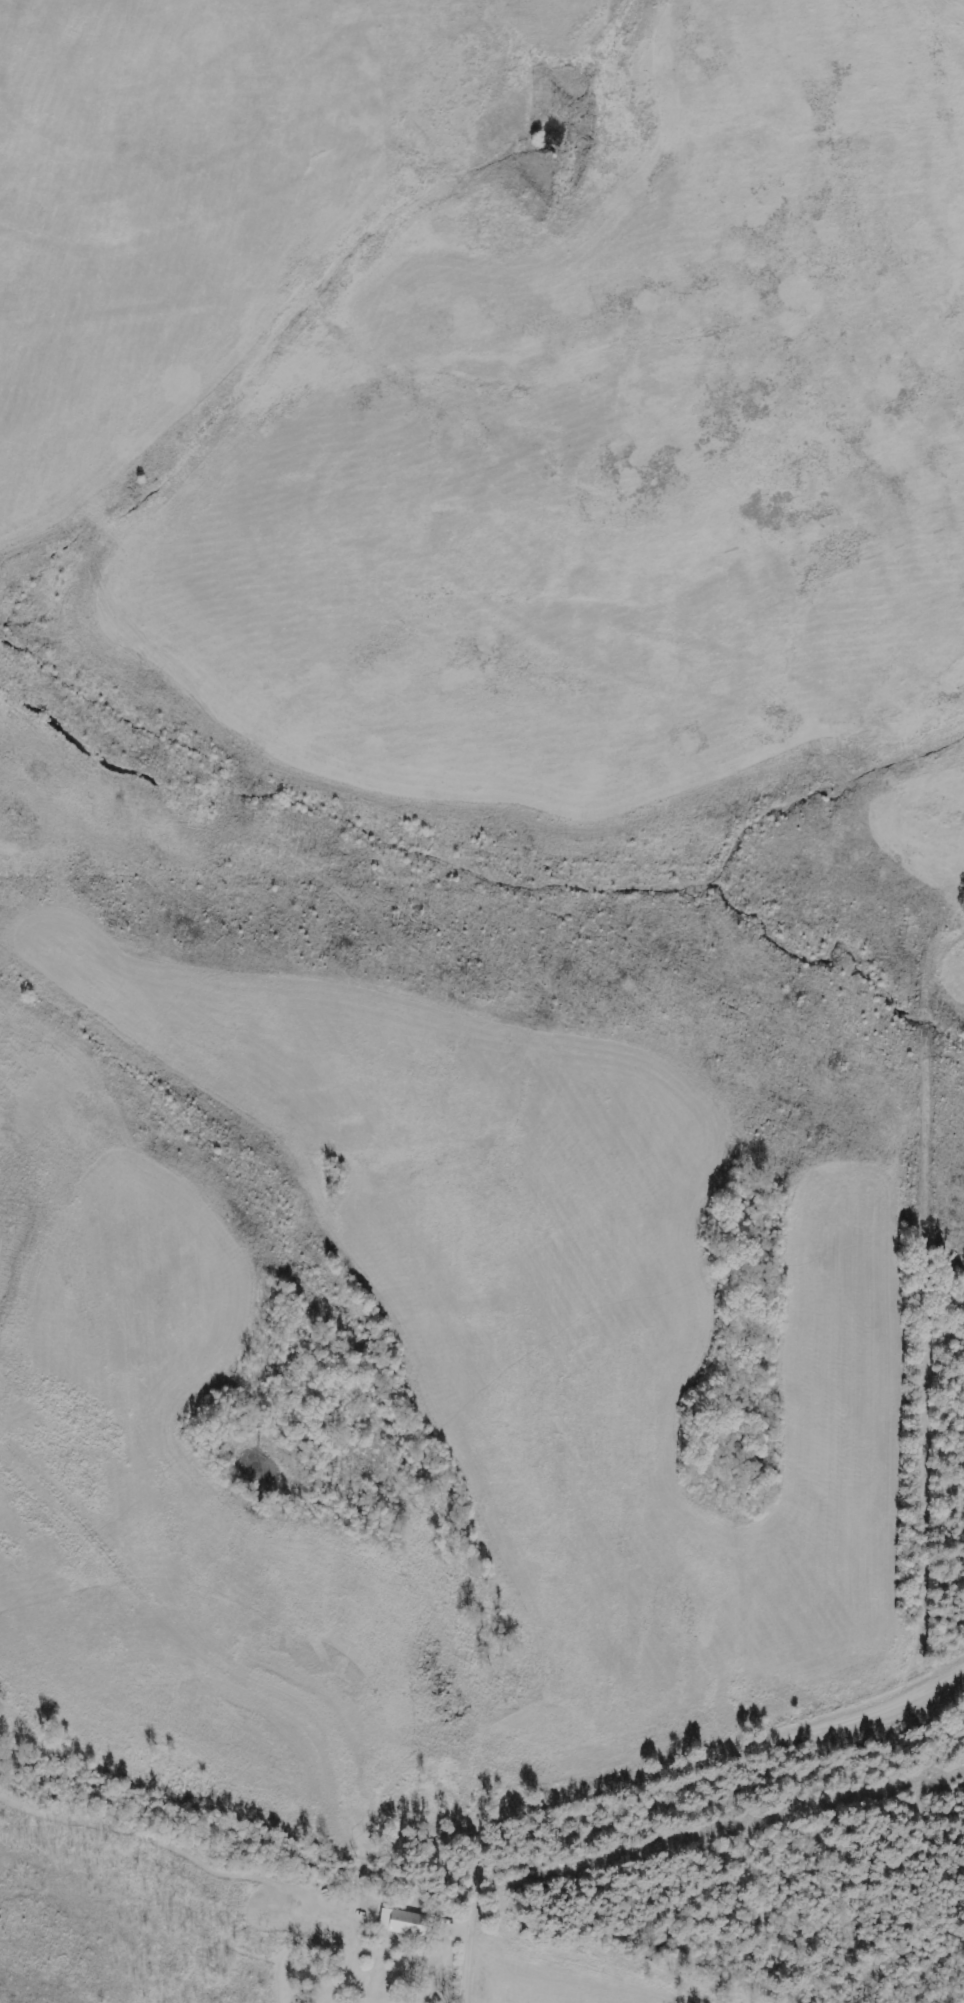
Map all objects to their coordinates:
road: (564, 1787)
road: (511, 1900)
building: (401, 1923)

